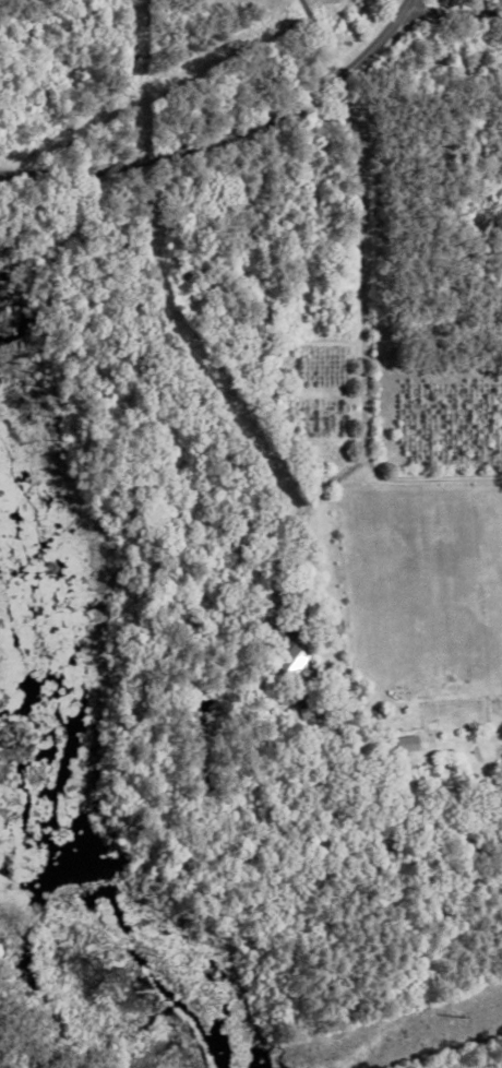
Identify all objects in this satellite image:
road: (453, 15)
road: (318, 43)
road: (228, 138)
building: (225, 260)
road: (362, 263)
building: (243, 345)
building: (241, 375)
building: (286, 429)
building: (275, 434)
road: (426, 476)
road: (296, 518)
building: (282, 653)
building: (283, 697)
building: (298, 700)
building: (404, 744)
building: (407, 784)
building: (407, 799)

